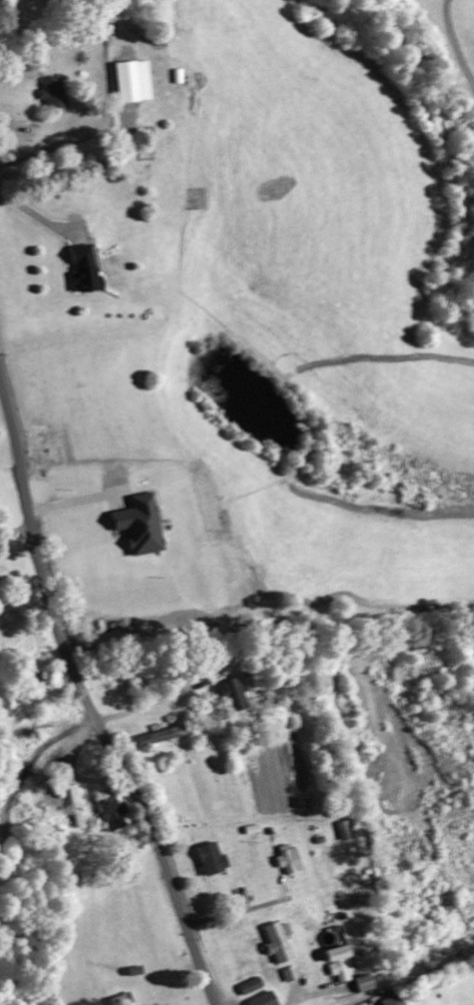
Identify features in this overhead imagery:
building: (133, 84)
building: (56, 94)
building: (82, 273)
building: (142, 527)
road: (87, 697)
building: (235, 697)
building: (164, 738)
building: (75, 808)
building: (111, 815)
building: (212, 861)
building: (290, 864)
building: (279, 944)
building: (340, 966)
building: (363, 985)
building: (252, 988)
building: (265, 1000)
building: (391, 1001)

